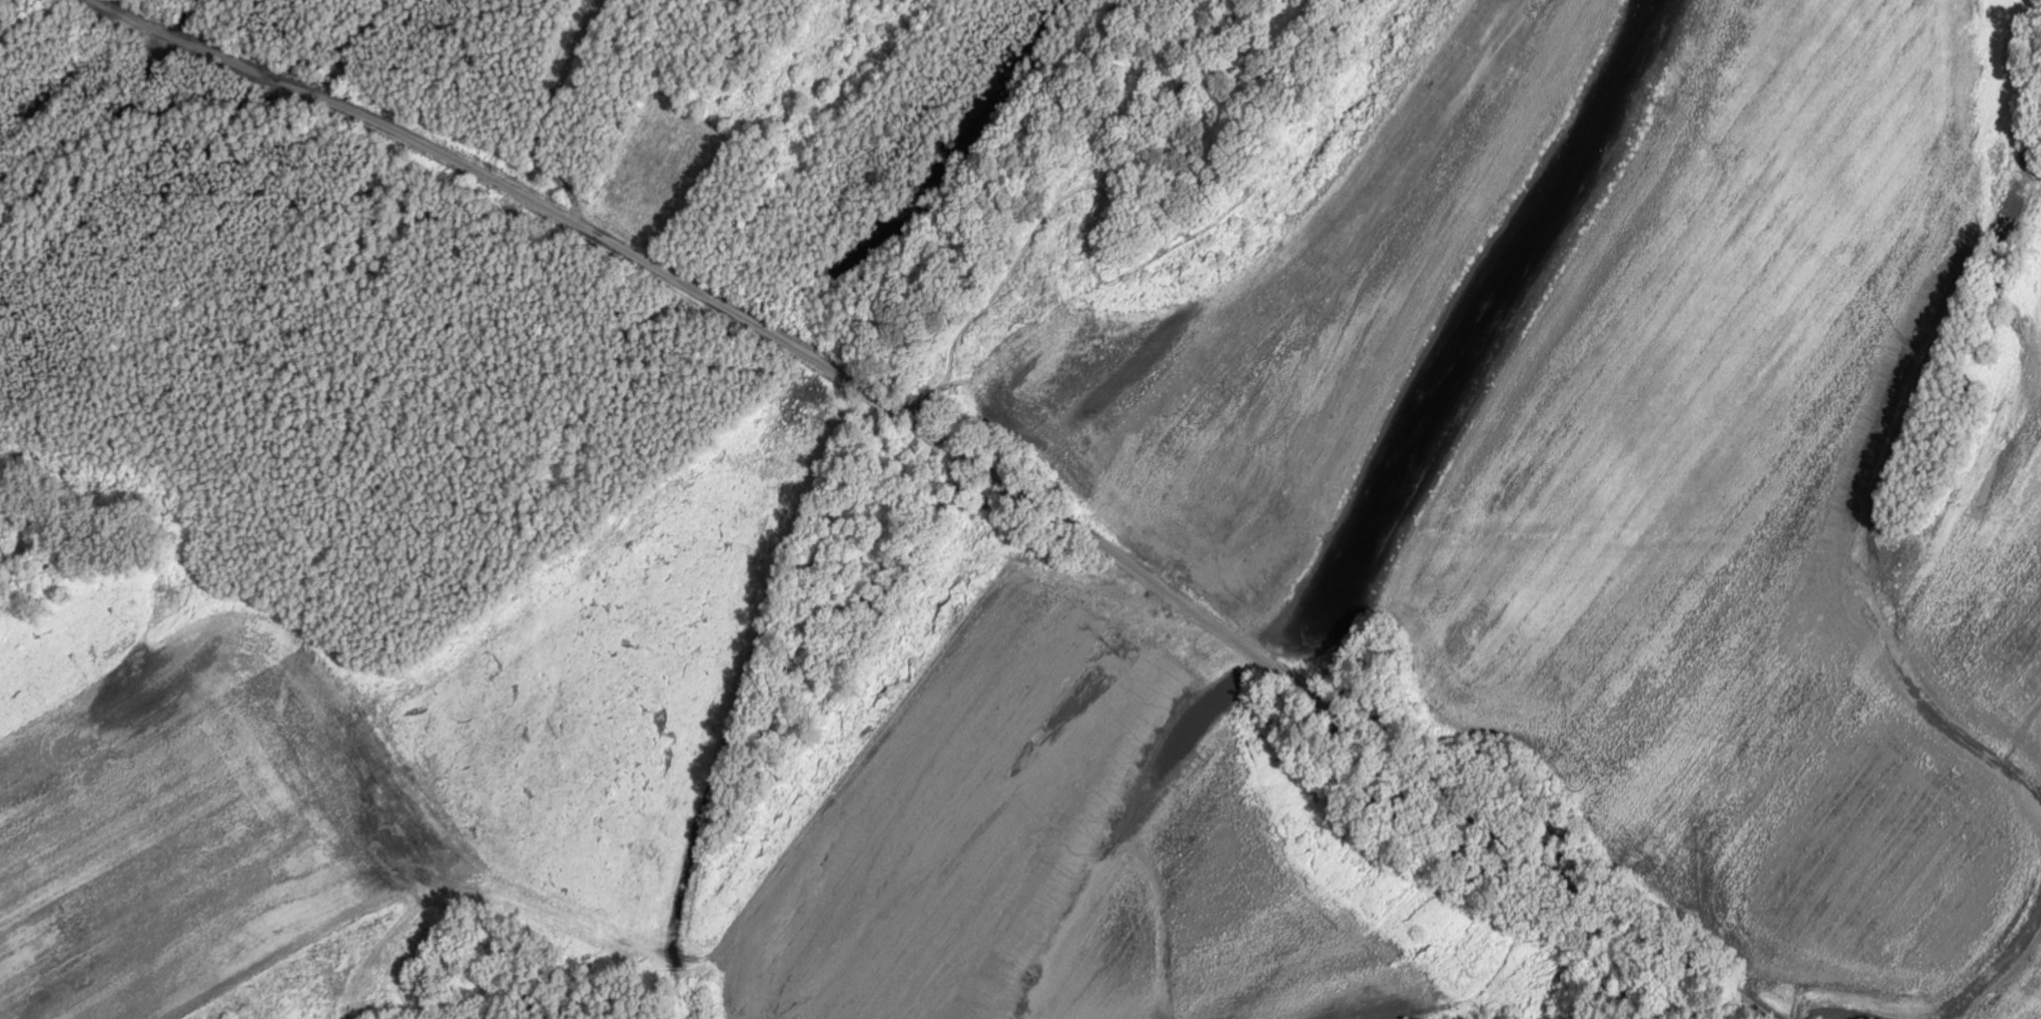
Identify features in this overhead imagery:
road: (964, 457)

